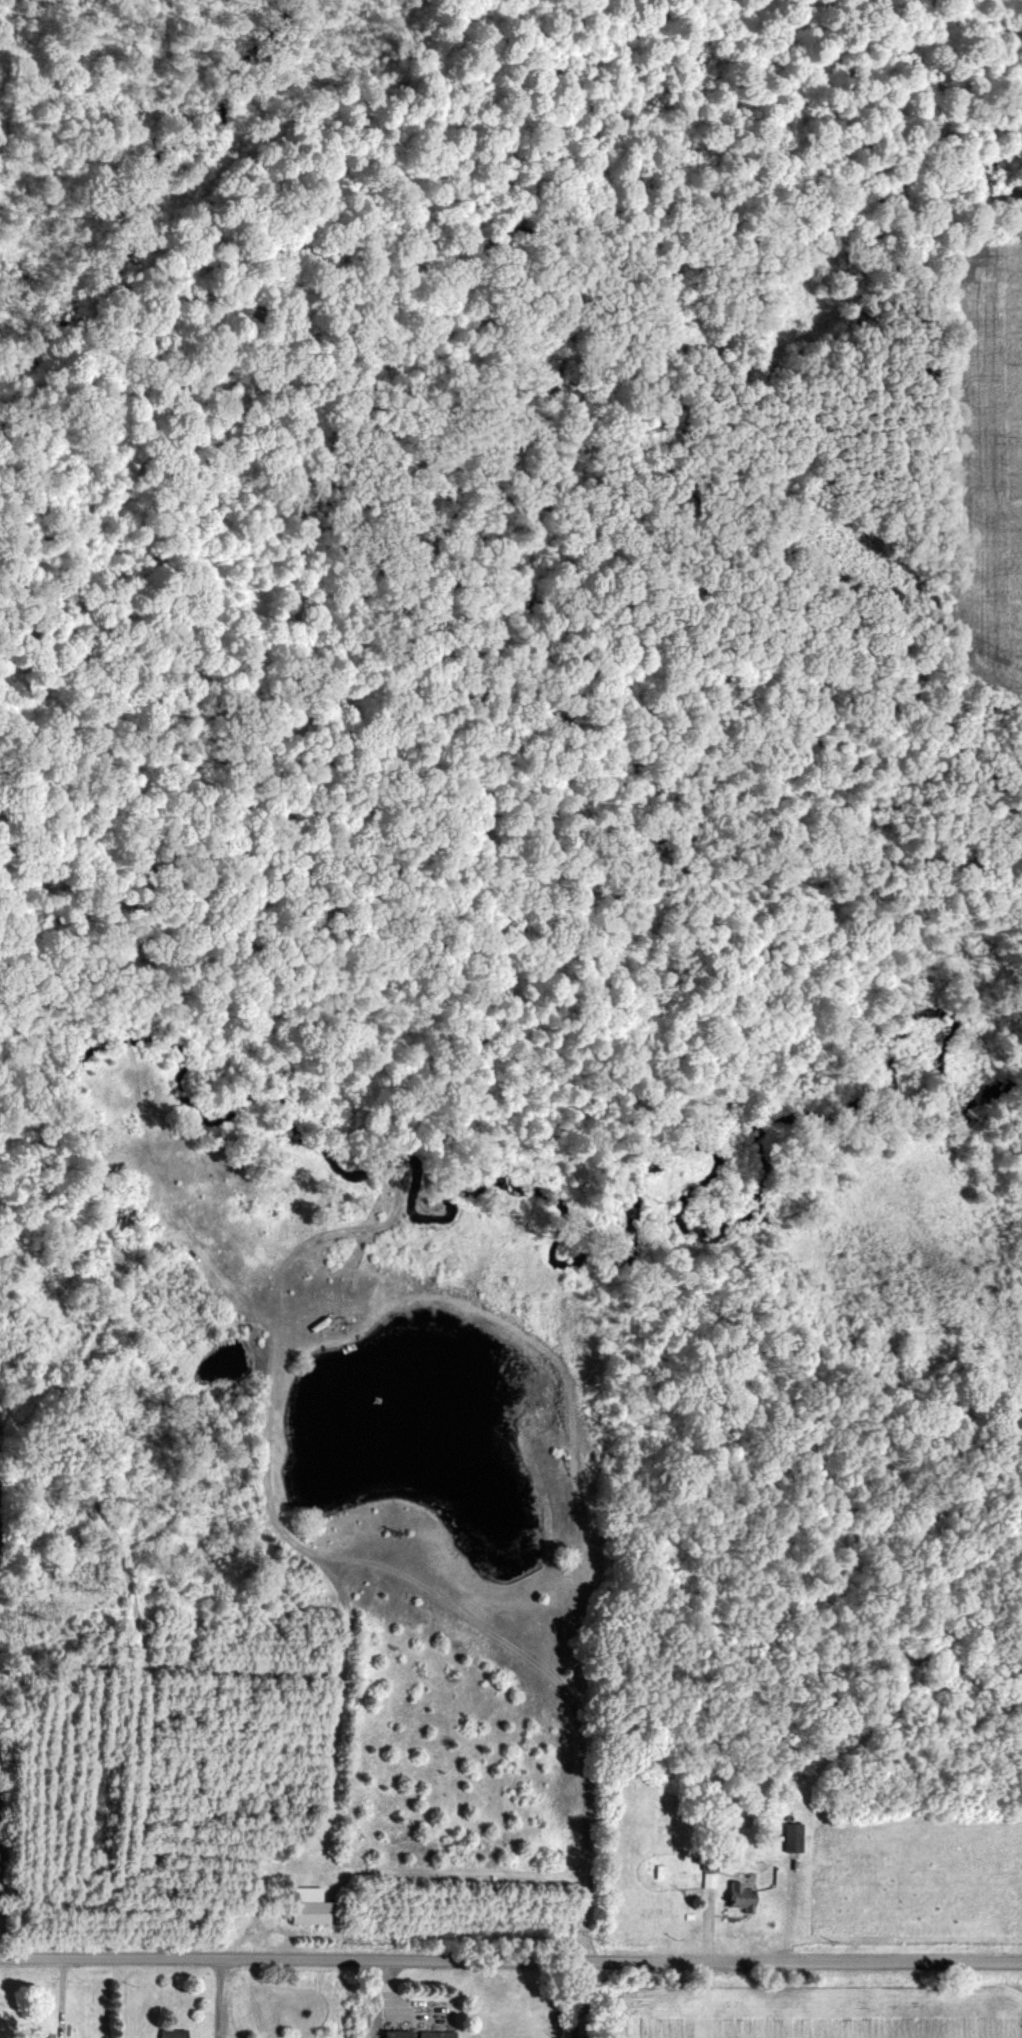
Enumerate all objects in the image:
building: (787, 1838)
building: (736, 1897)
building: (307, 1907)
road: (510, 1962)
road: (61, 1990)
road: (219, 1998)
road: (569, 2000)
building: (171, 2033)
building: (421, 2034)
building: (31, 2036)

